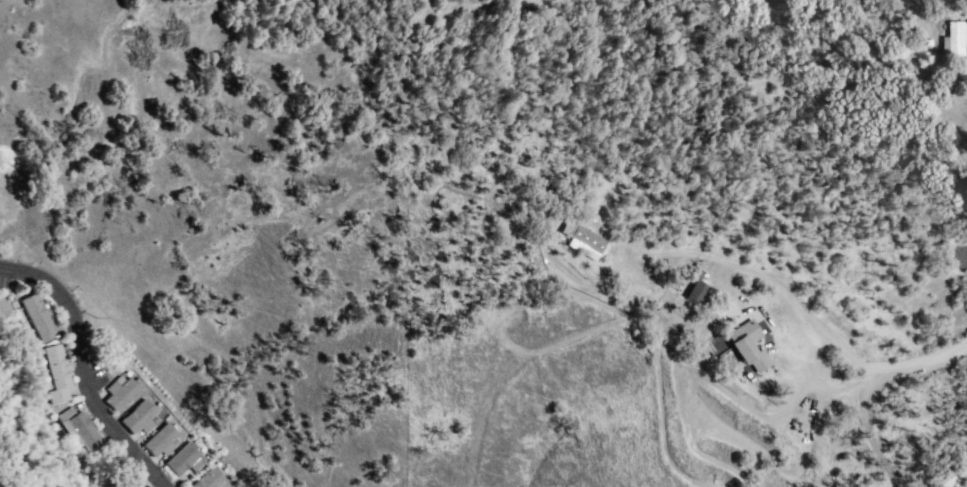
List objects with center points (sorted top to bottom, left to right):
building: (957, 41)
building: (584, 236)
road: (768, 276)
building: (698, 292)
building: (41, 318)
building: (750, 345)
road: (926, 363)
road: (89, 370)
building: (61, 374)
building: (124, 393)
building: (142, 419)
building: (83, 430)
building: (164, 442)
building: (188, 460)
building: (213, 480)
building: (952, 483)

